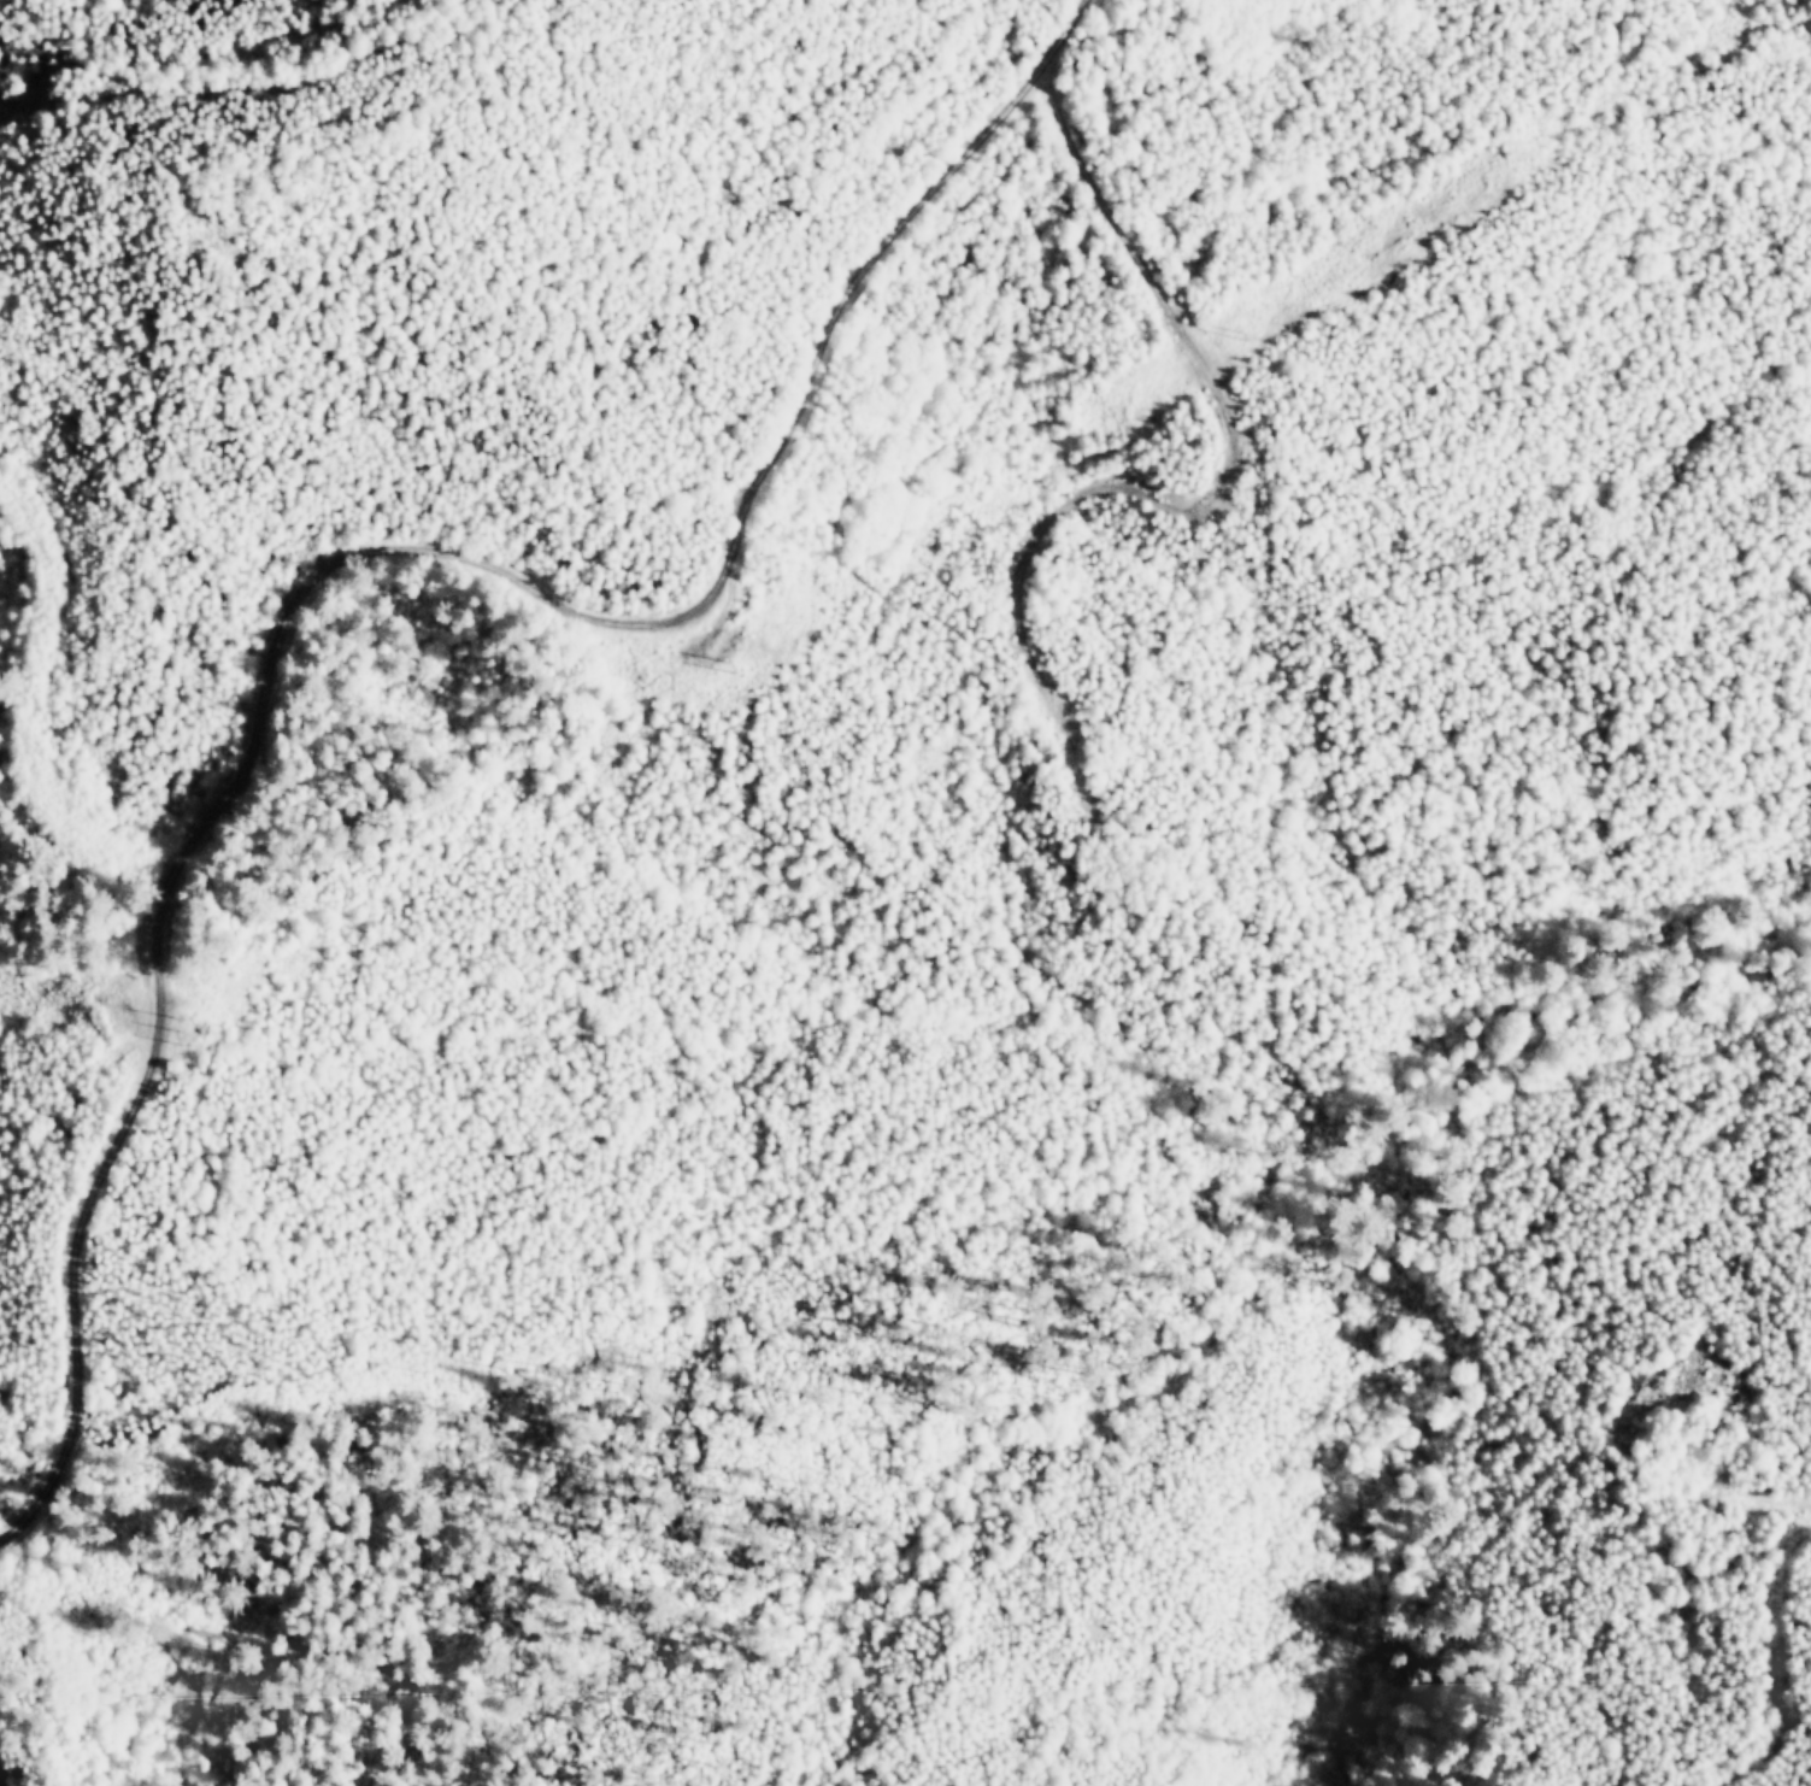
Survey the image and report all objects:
road: (392, 40)
road: (1213, 506)
road: (361, 553)
road: (24, 721)
road: (23, 1488)
road: (1740, 1496)
road: (1771, 1664)
road: (0, 1785)

